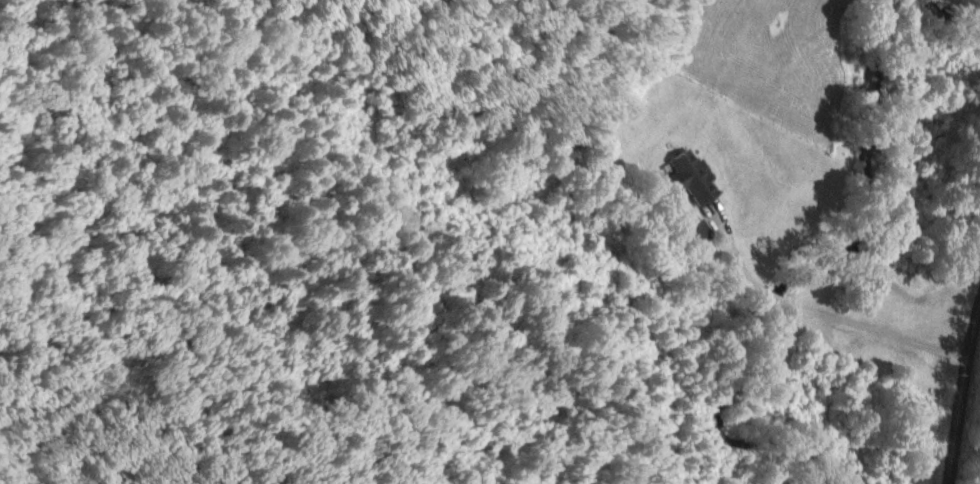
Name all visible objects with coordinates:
building: (695, 178)
building: (700, 232)
road: (964, 406)

